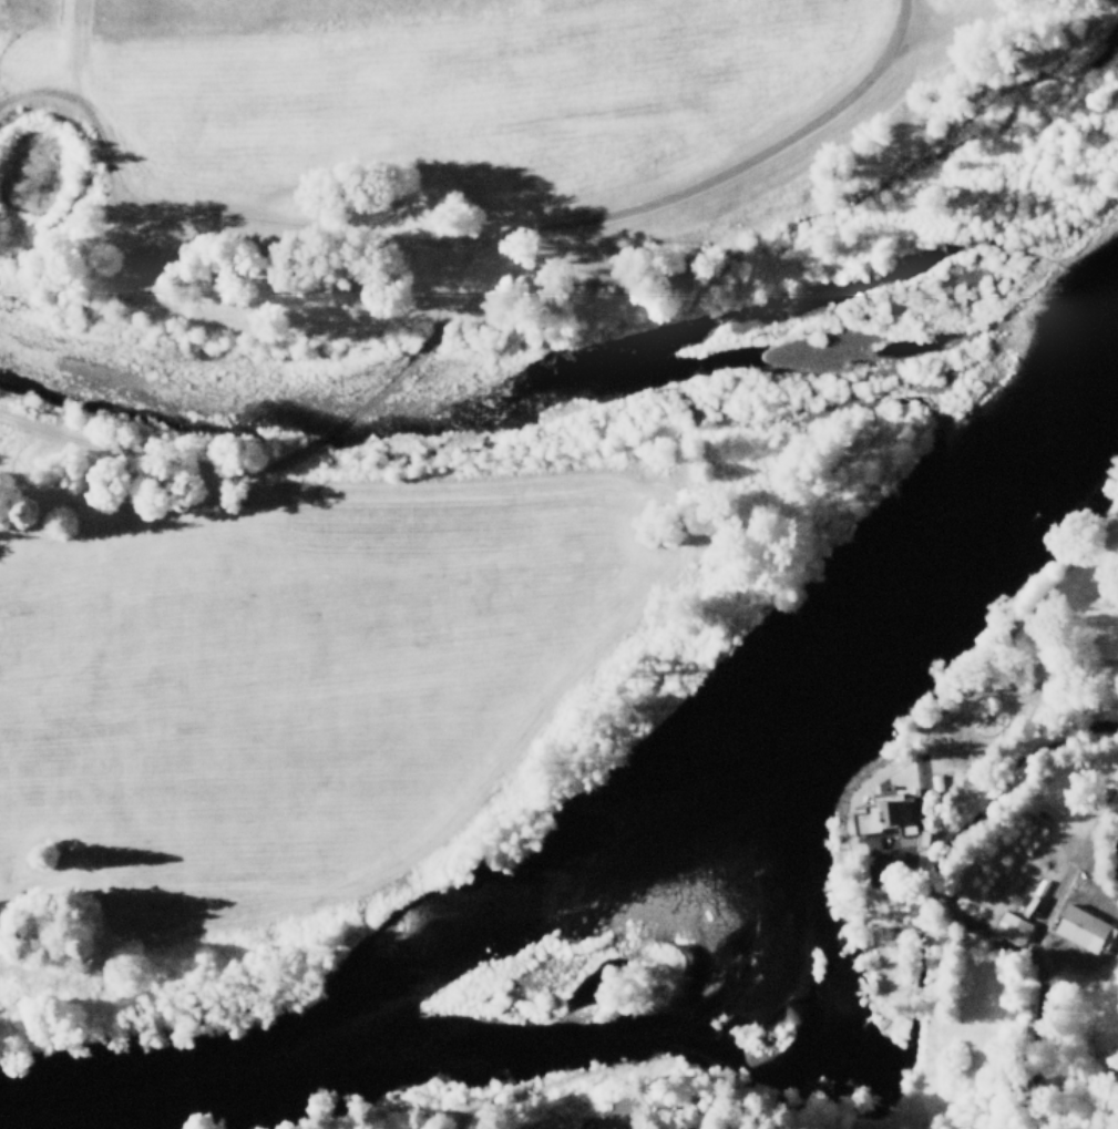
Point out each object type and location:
river: (563, 369)
building: (936, 780)
building: (889, 812)
river: (629, 823)
building: (1015, 924)
building: (1085, 926)
river: (746, 1047)

